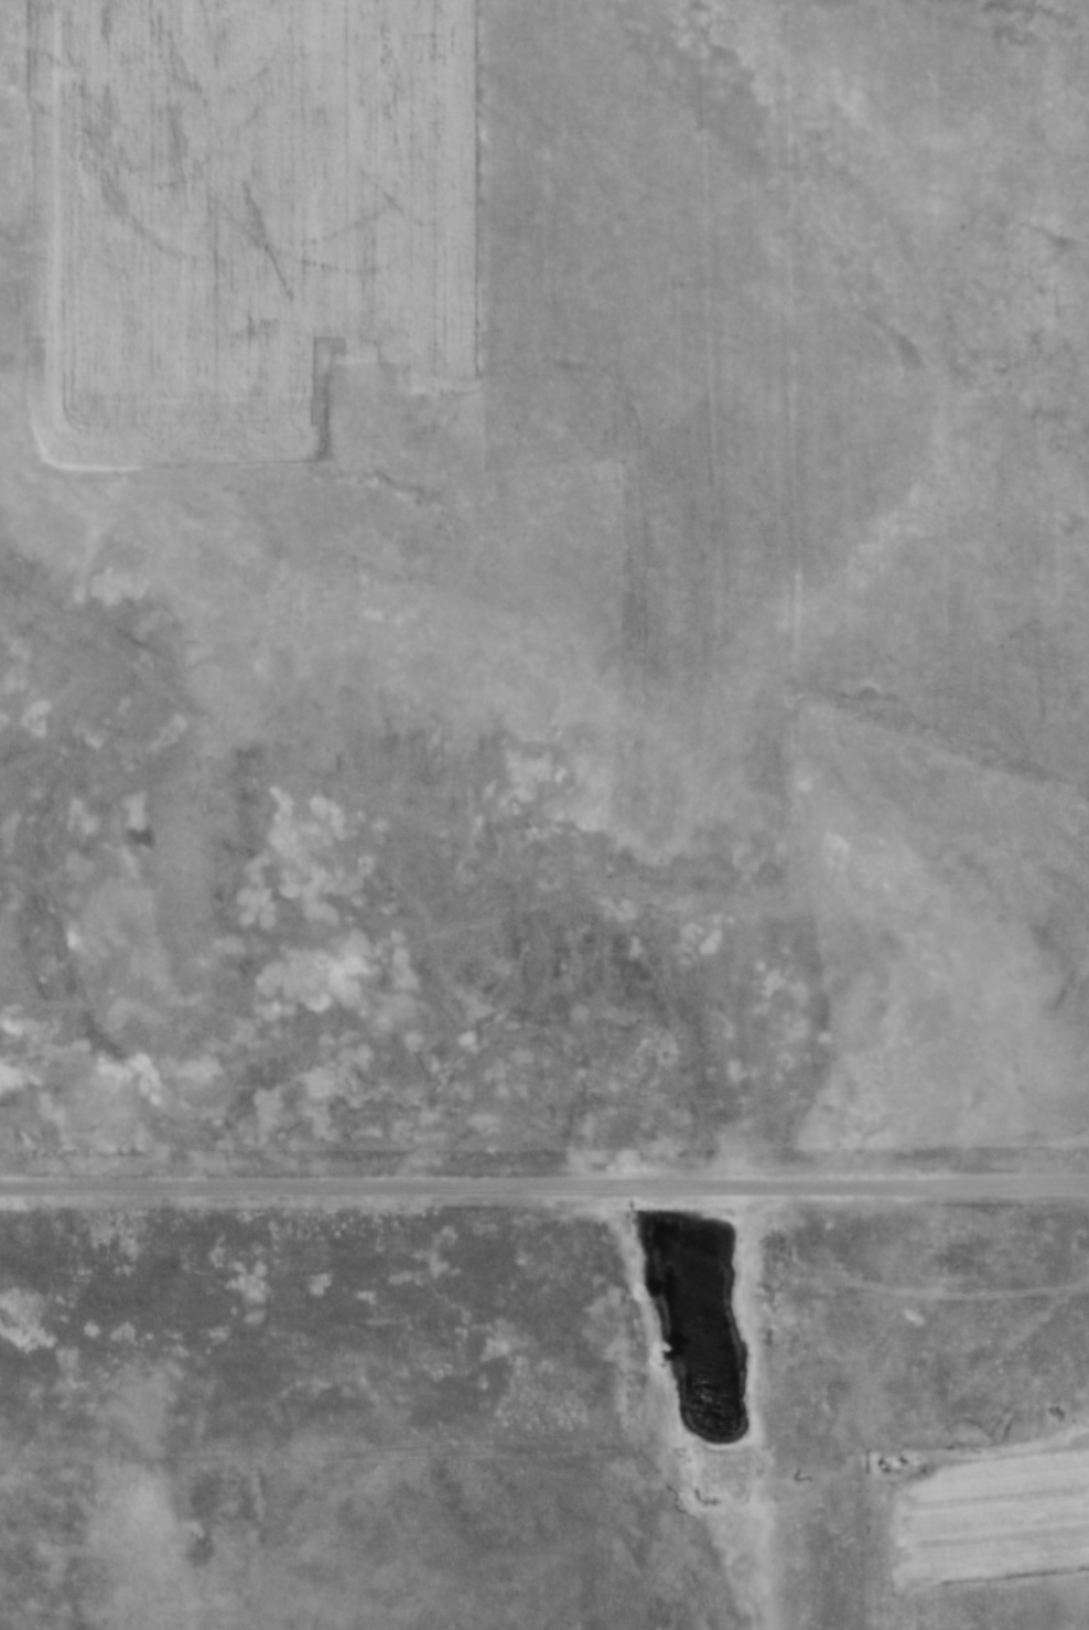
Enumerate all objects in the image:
road: (544, 1187)

